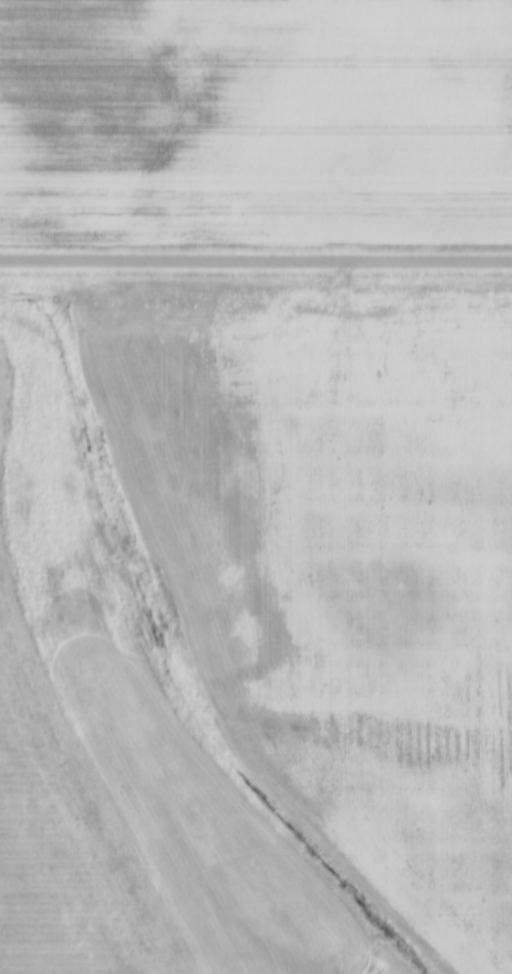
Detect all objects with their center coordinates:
road: (256, 260)

